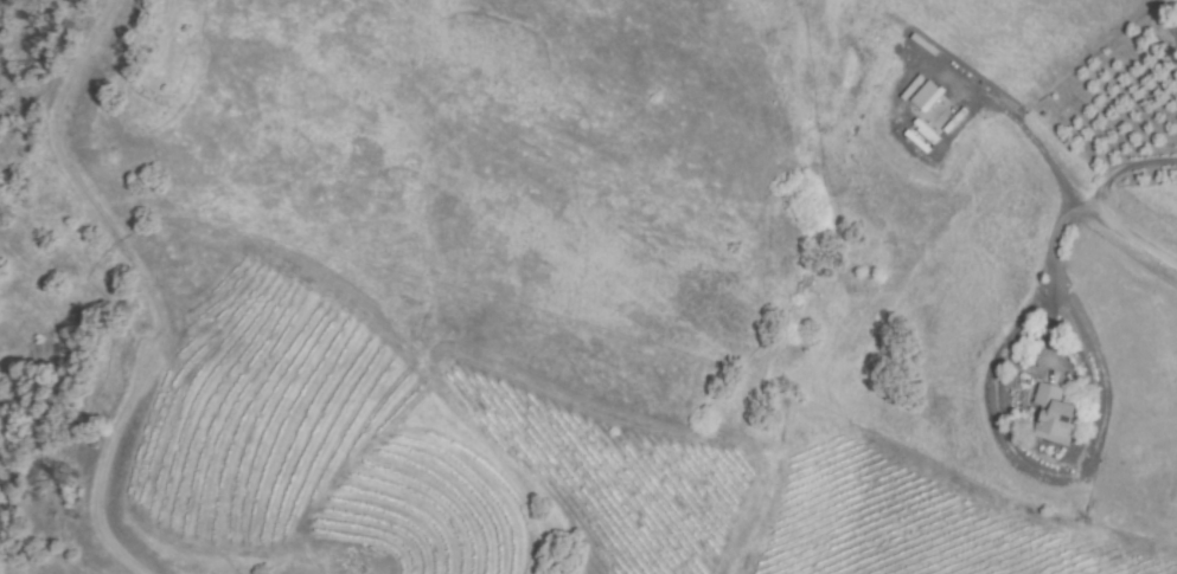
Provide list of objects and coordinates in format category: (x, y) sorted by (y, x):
building: (926, 97)
building: (1053, 414)

